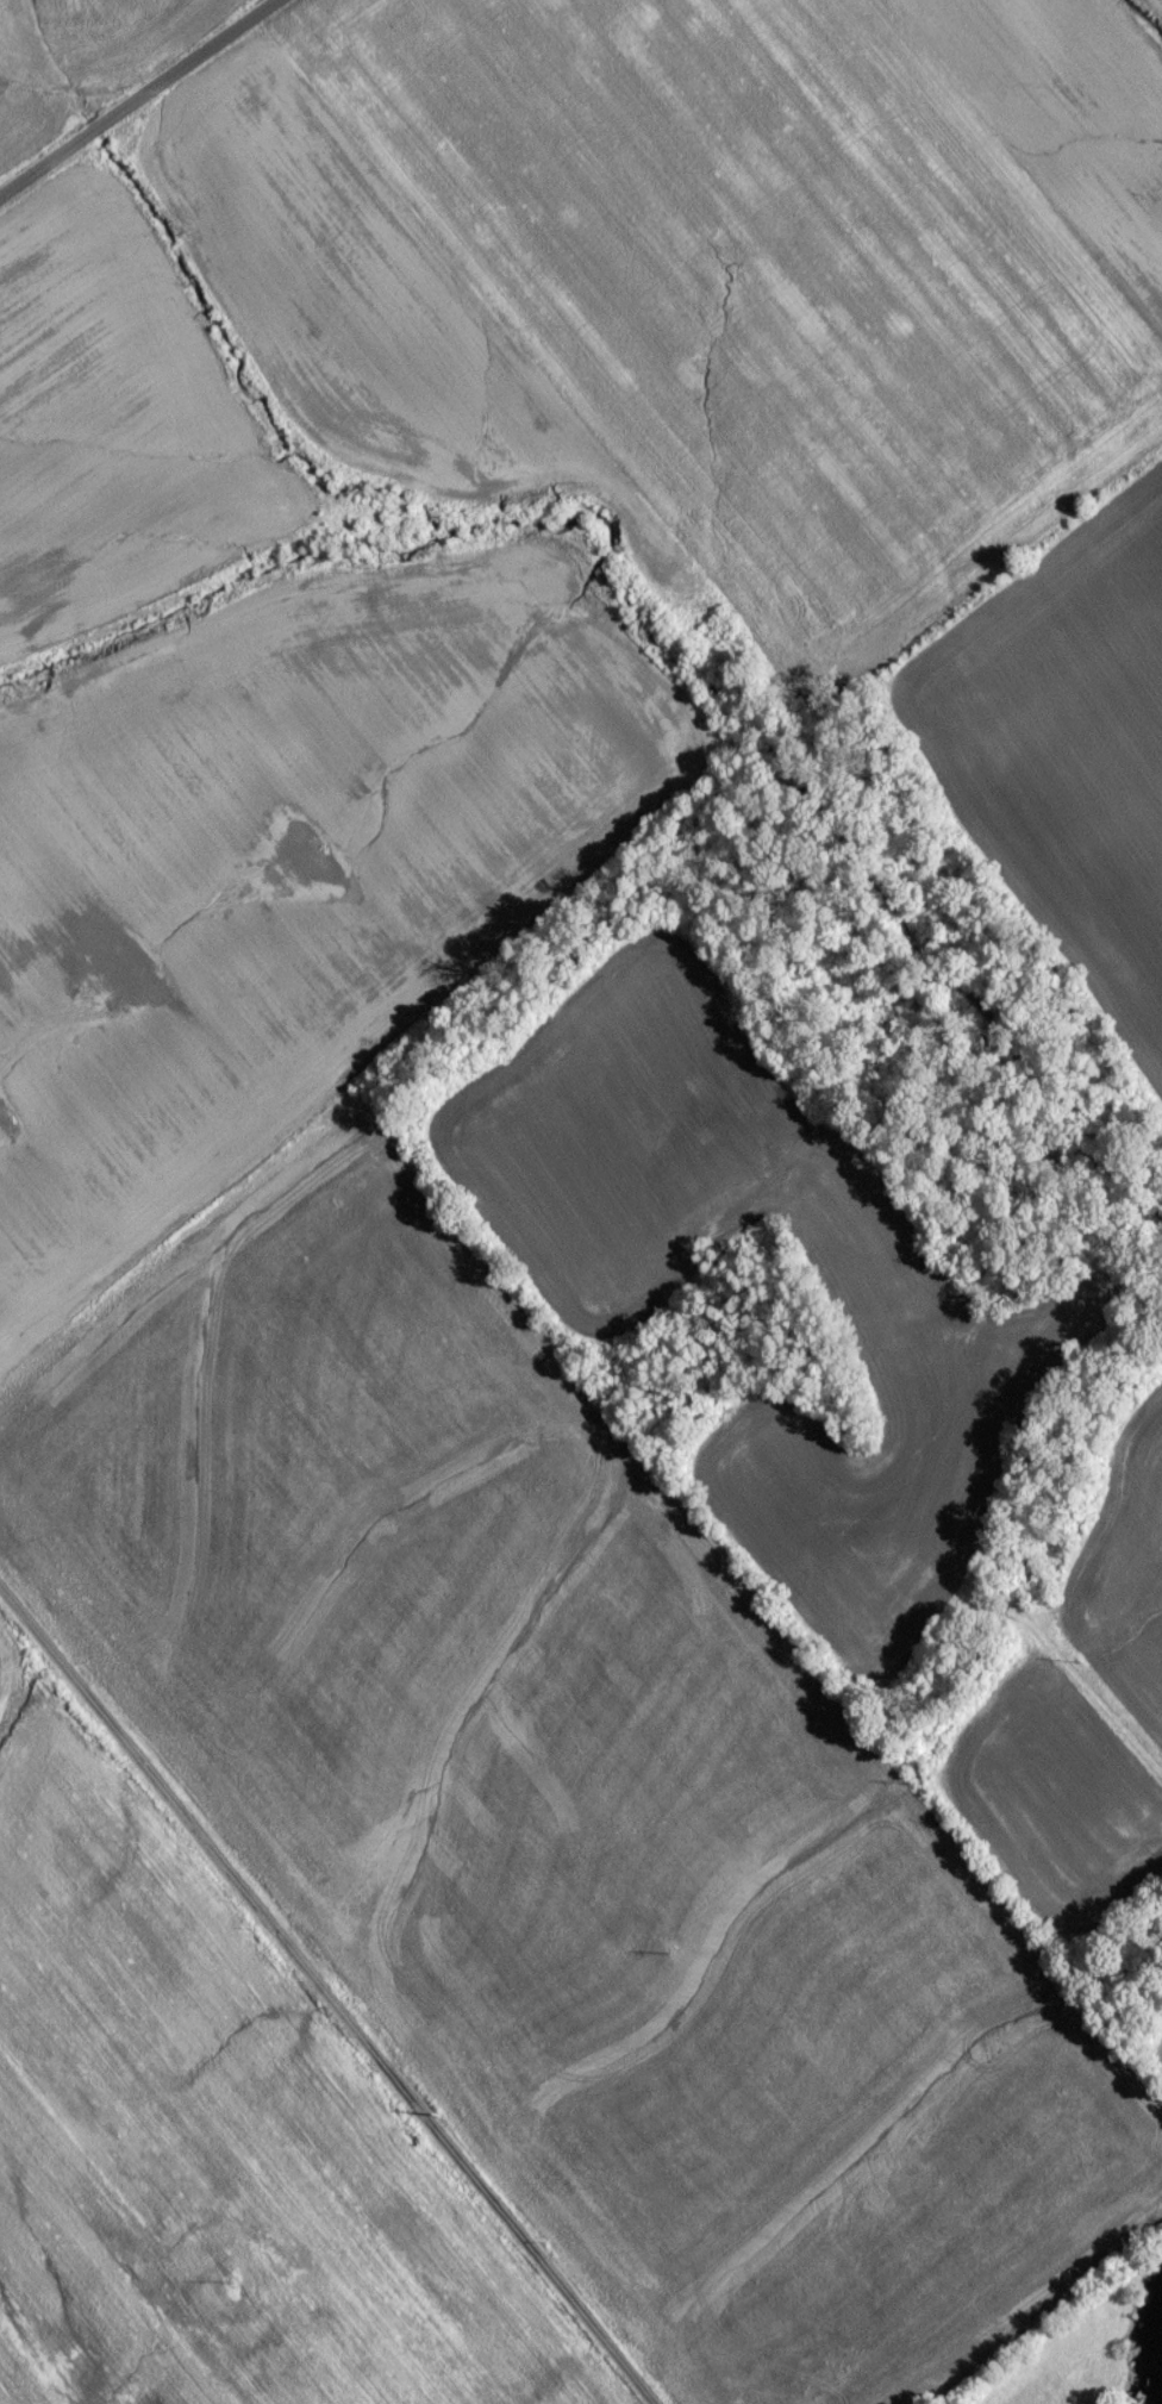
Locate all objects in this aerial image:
road: (142, 100)
road: (321, 2000)

